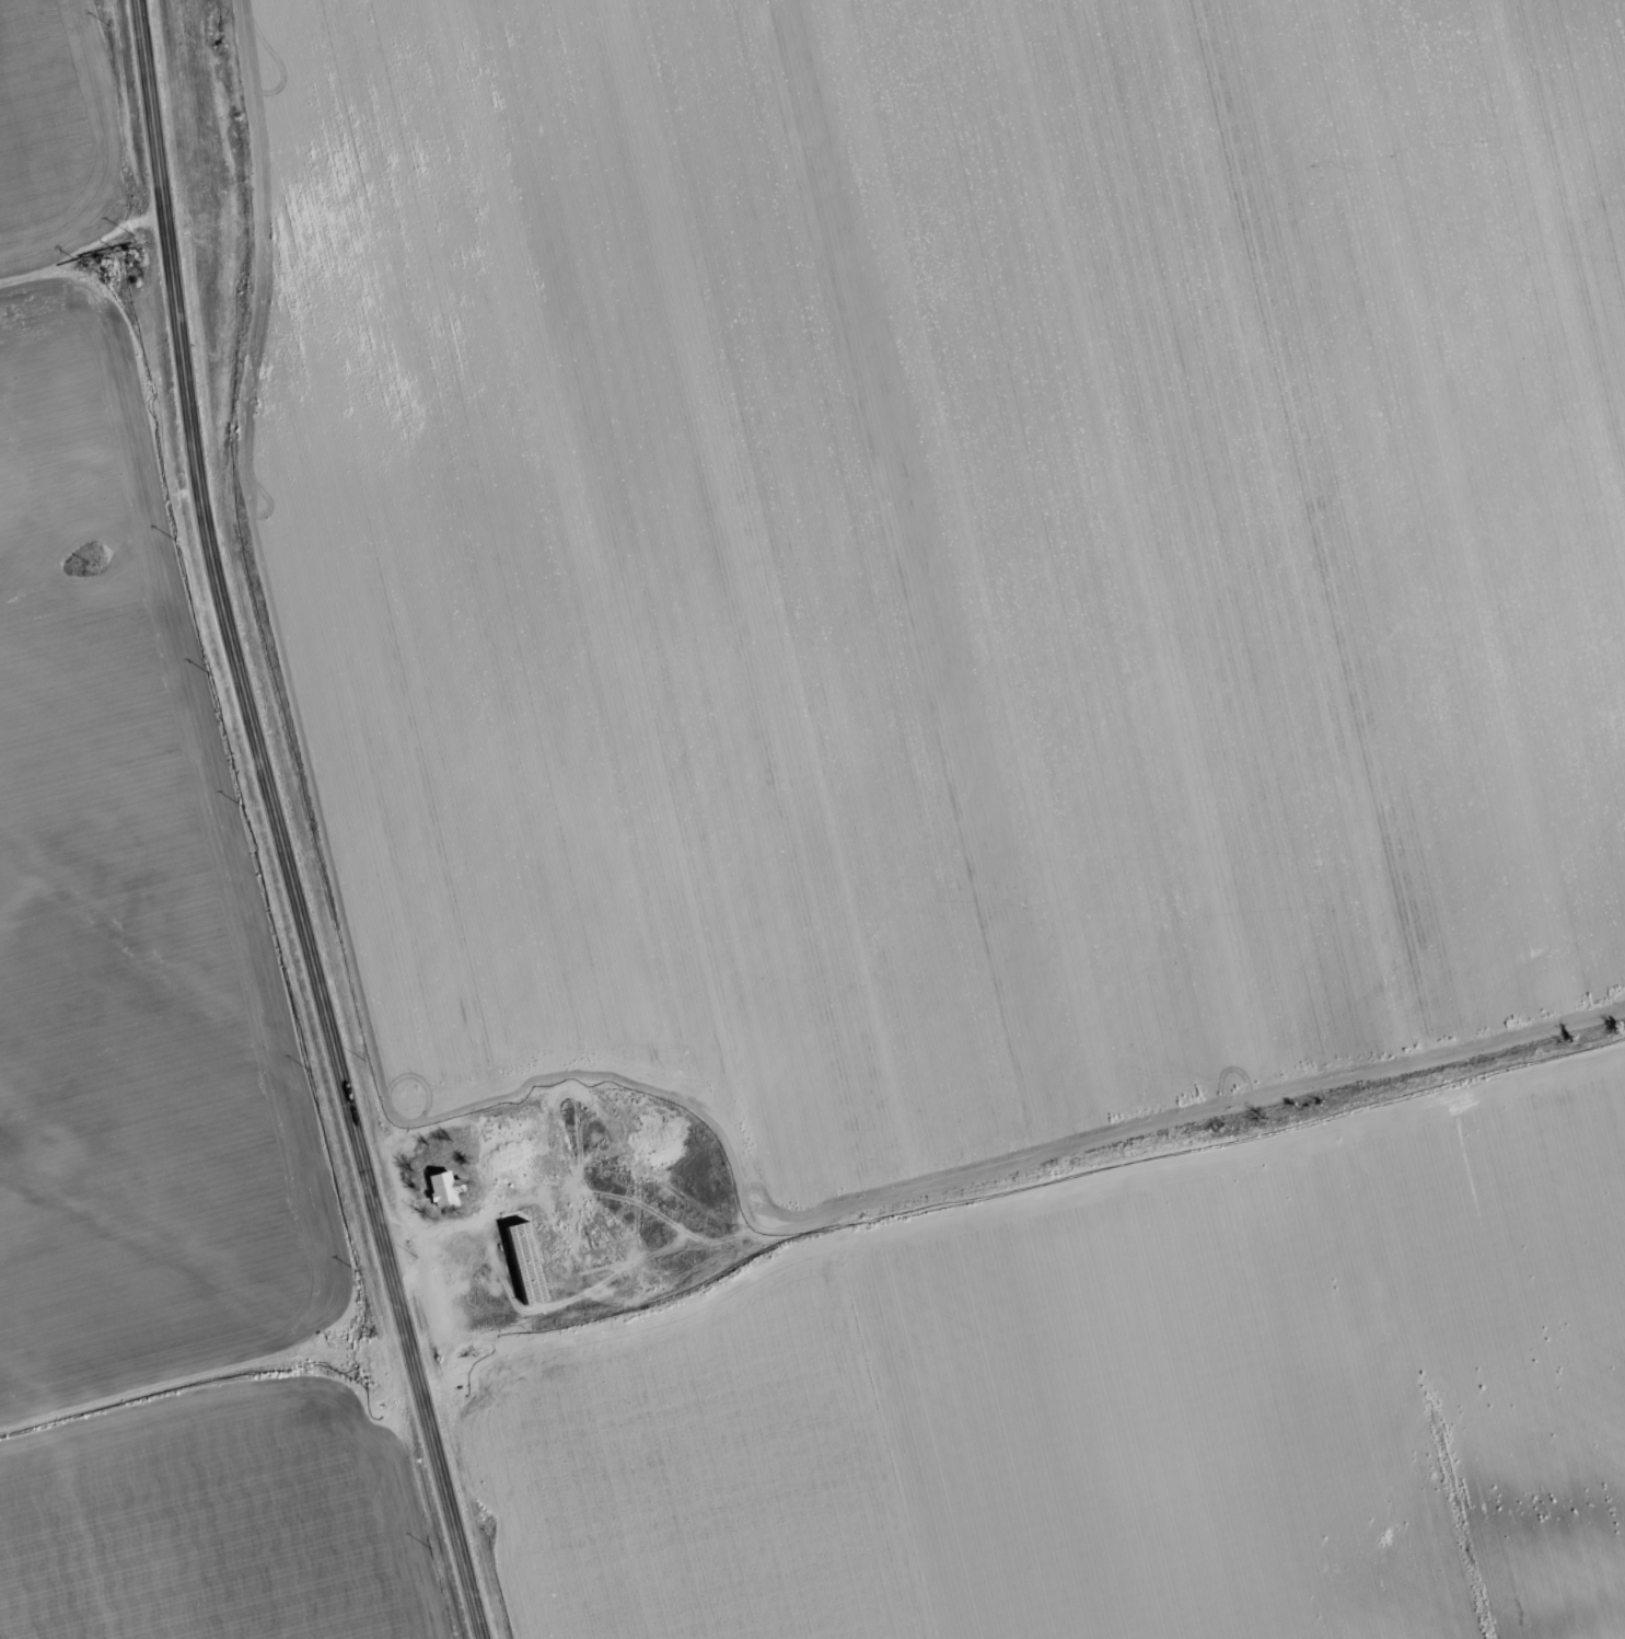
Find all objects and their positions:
road: (280, 824)
building: (494, 1130)
building: (444, 1189)
building: (522, 1256)

